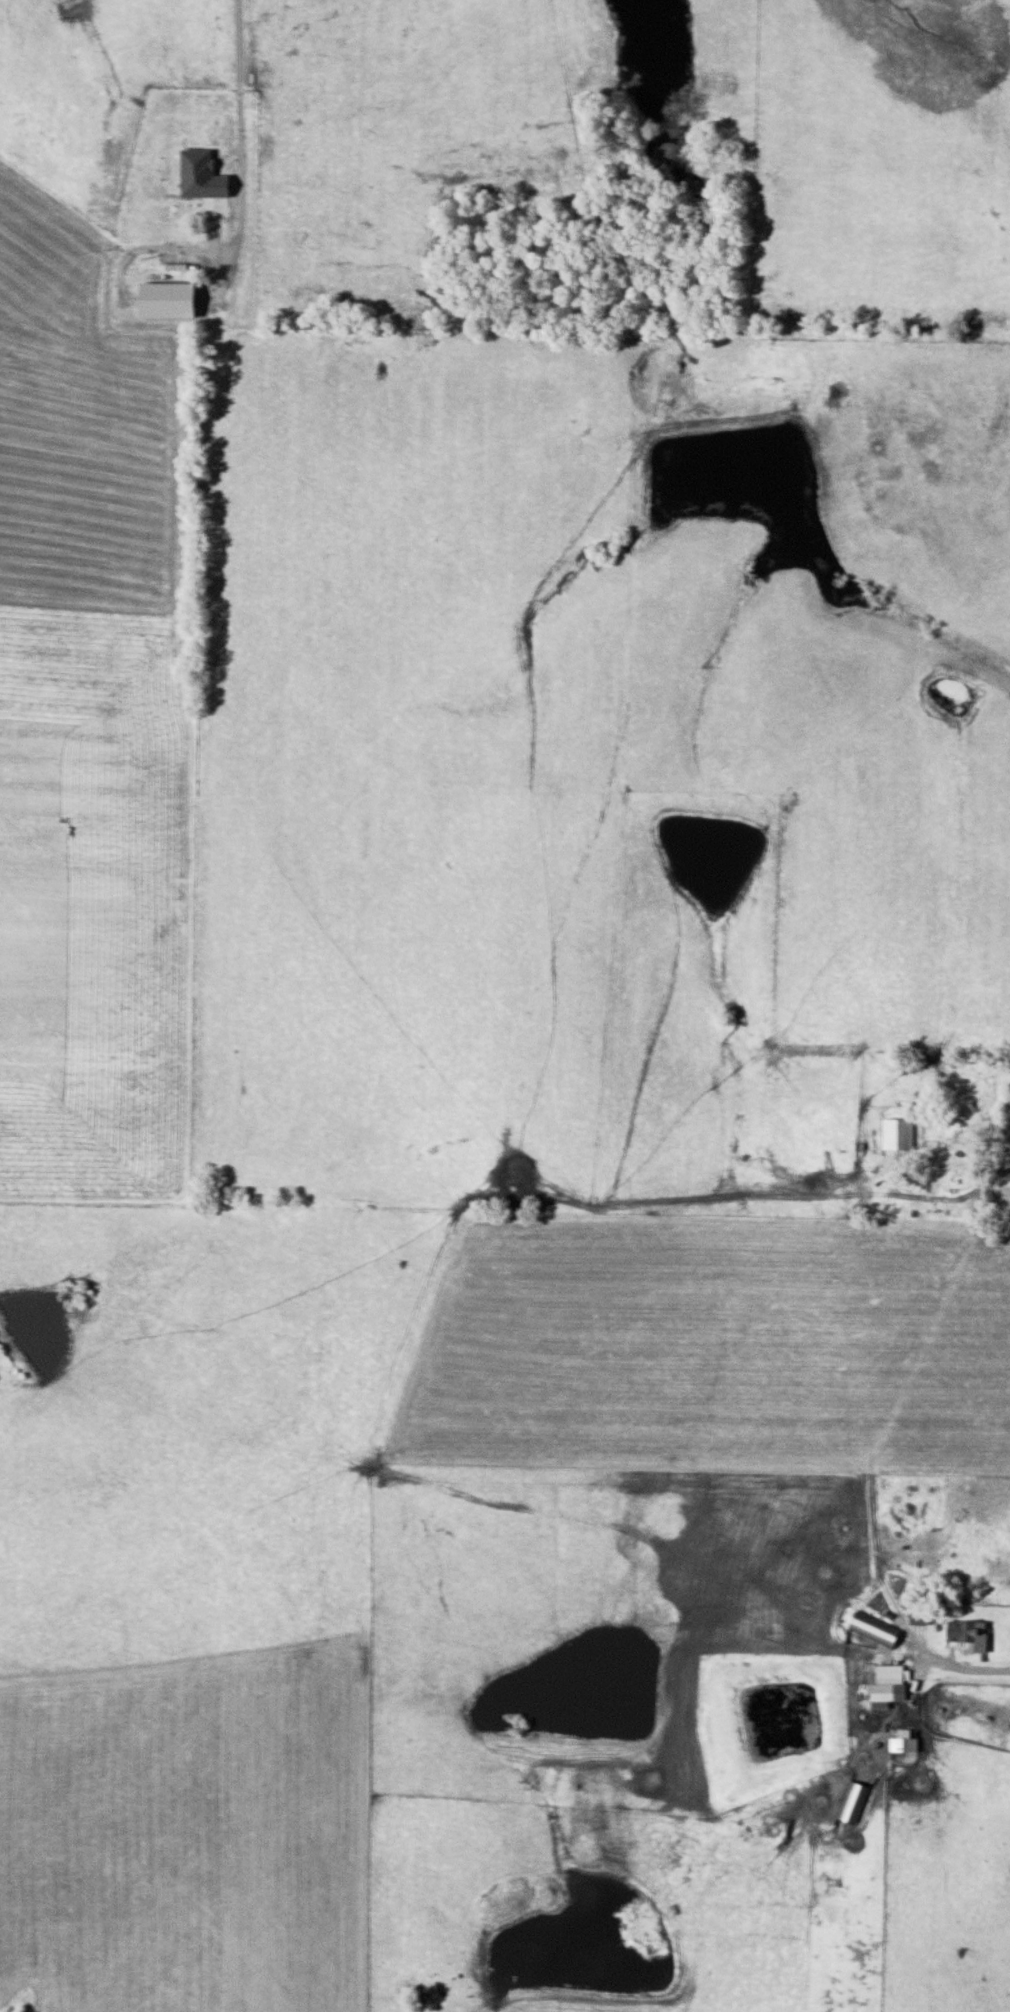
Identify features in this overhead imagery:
building: (899, 1134)
building: (920, 1617)
building: (878, 1630)
building: (967, 1631)
building: (890, 1685)
building: (905, 1742)
building: (855, 1802)

